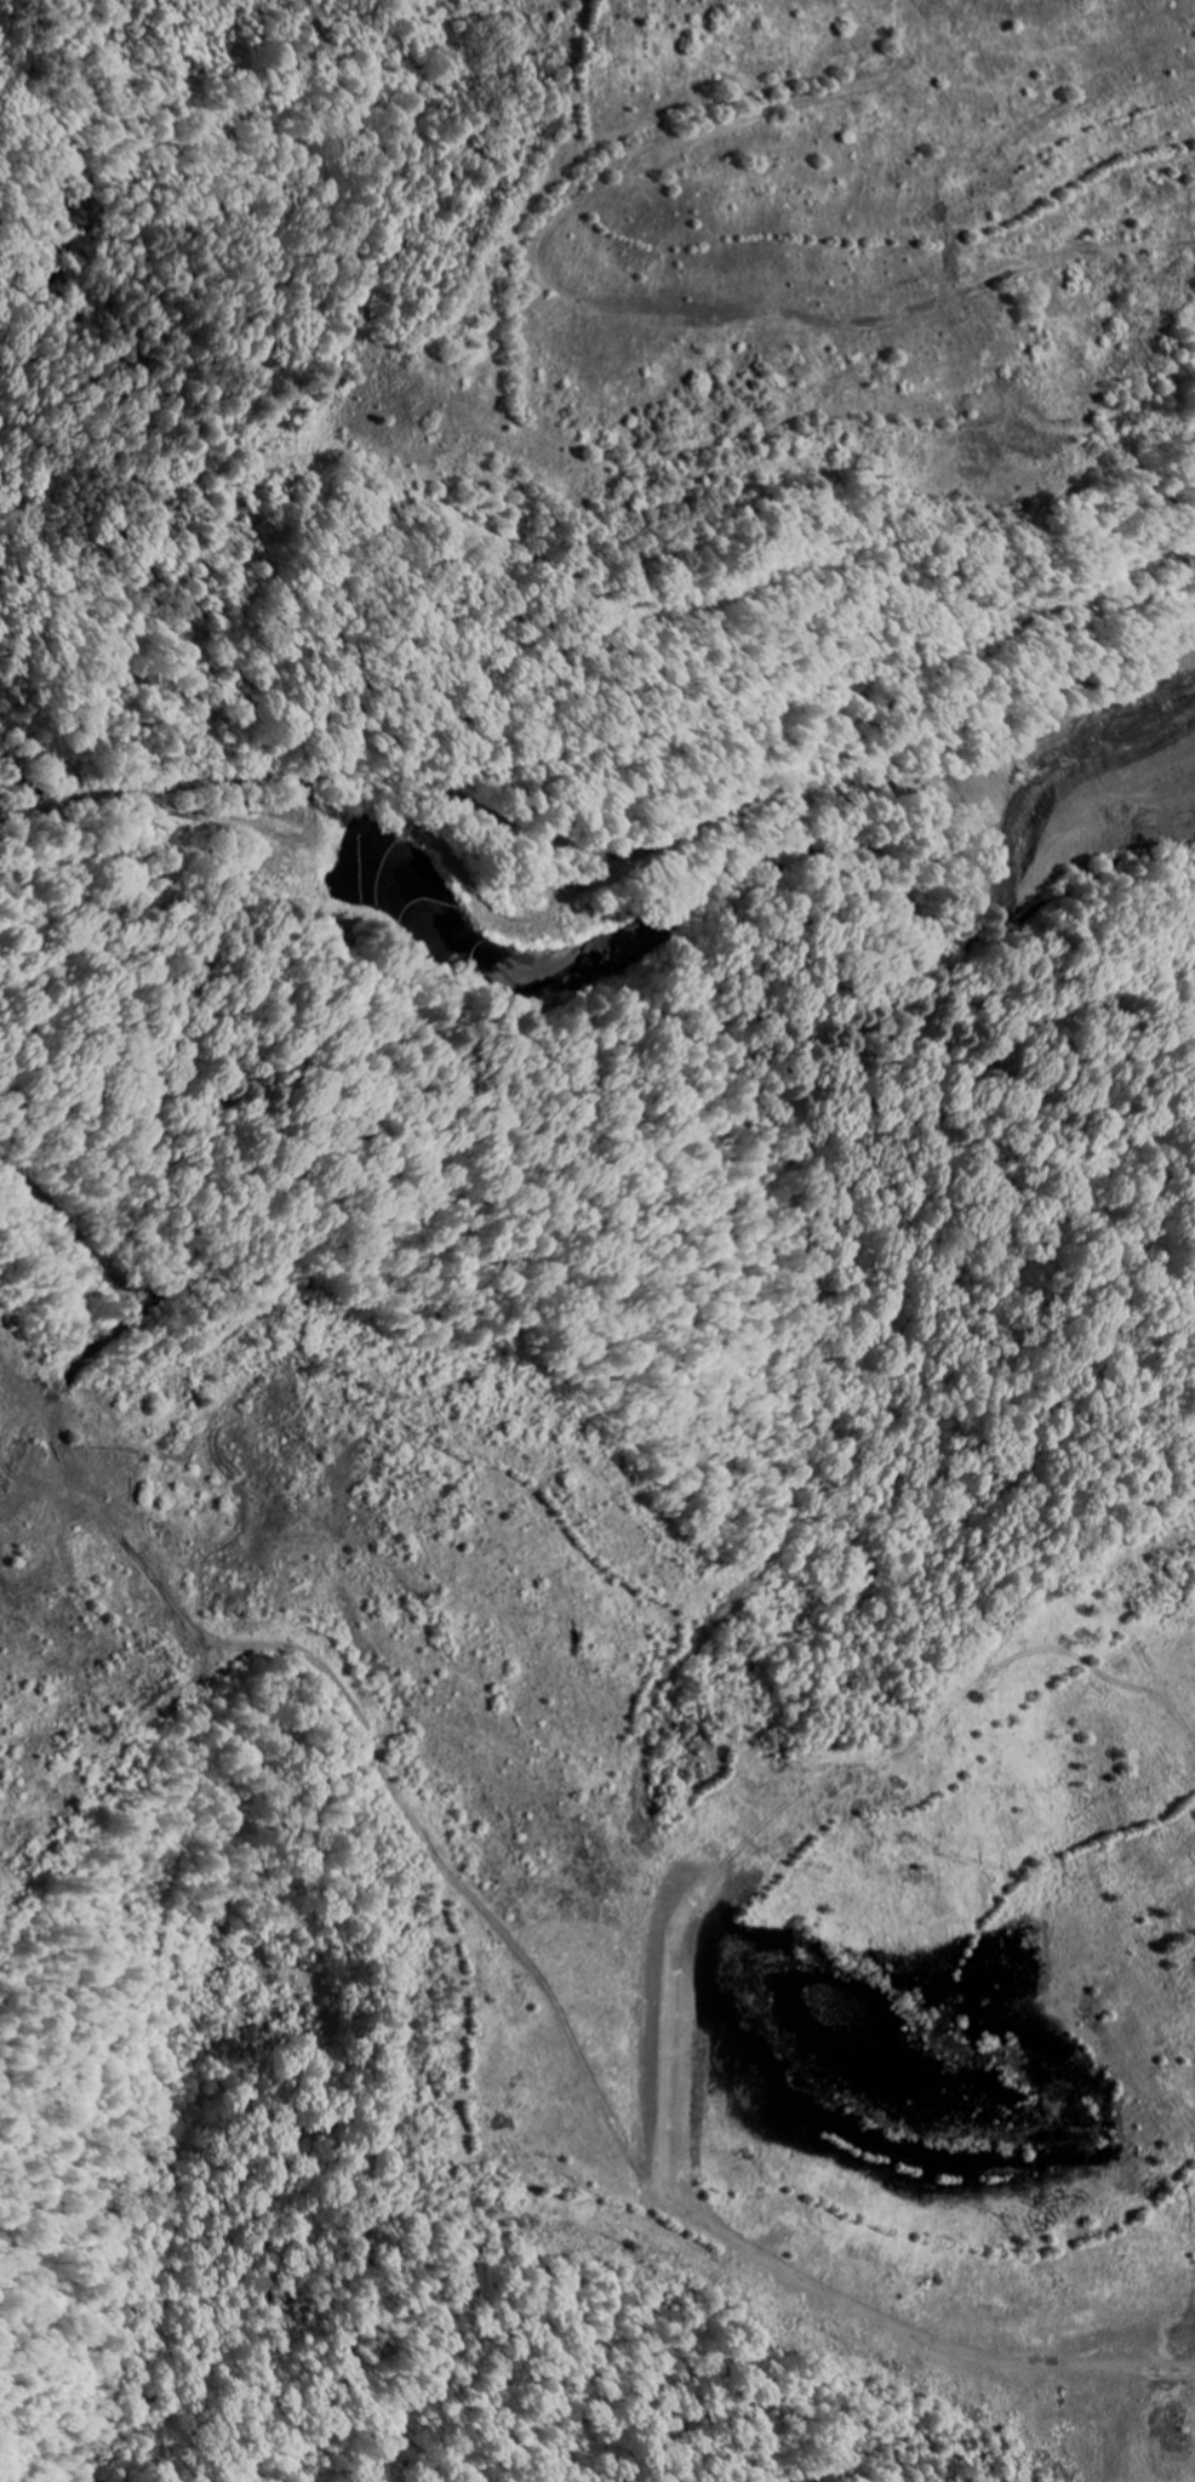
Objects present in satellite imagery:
quarry: (606, 794)

